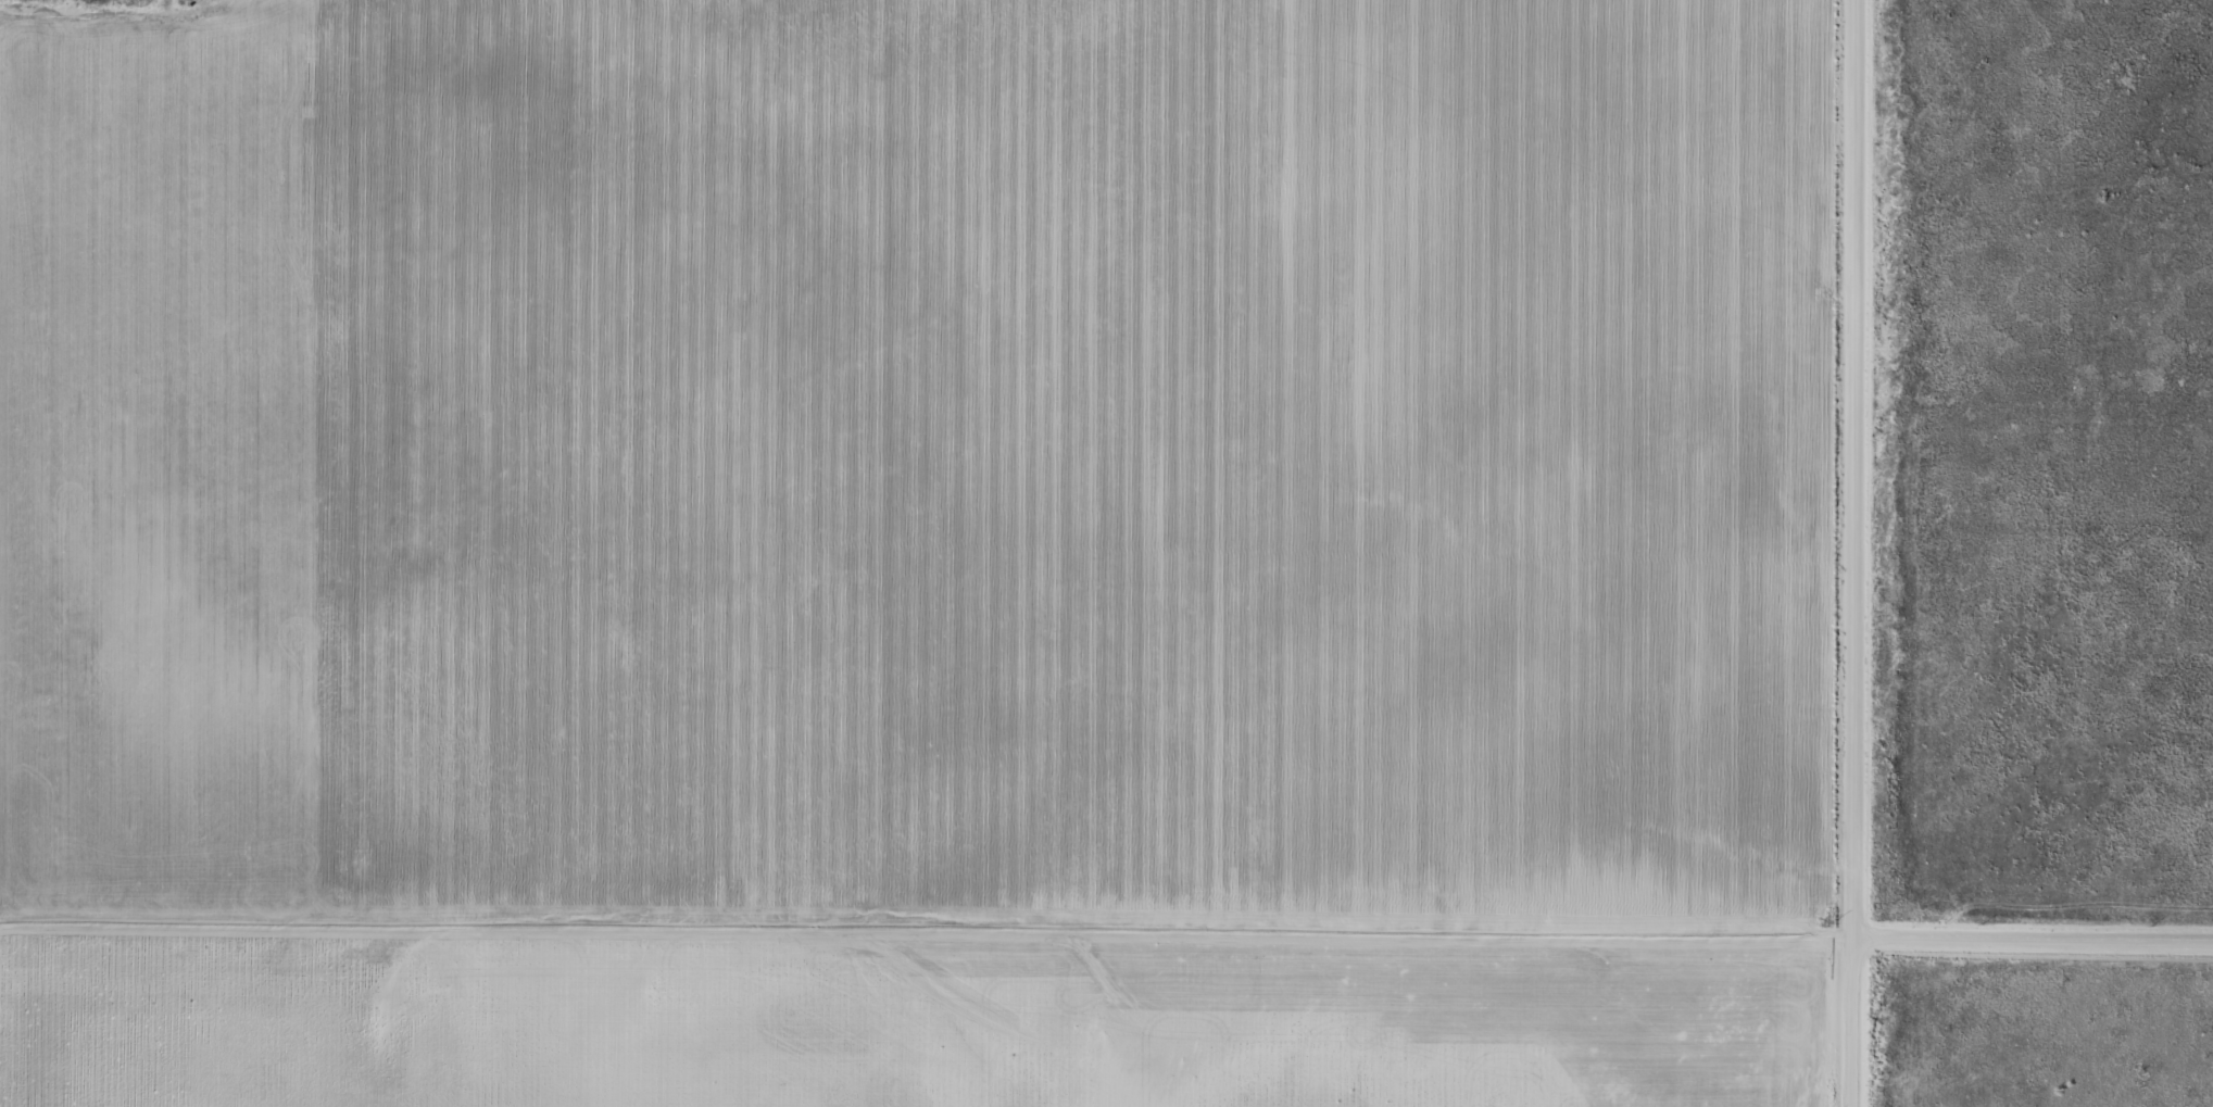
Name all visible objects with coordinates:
road: (1898, 553)
road: (1105, 942)

